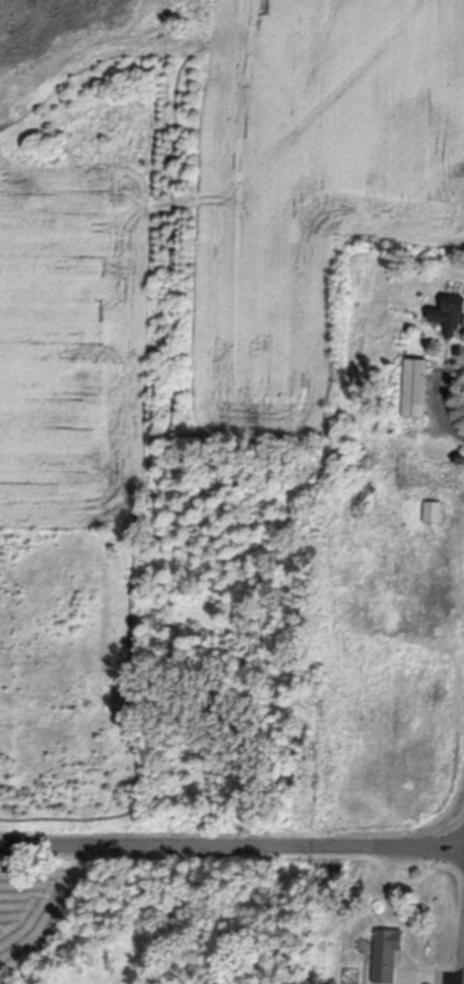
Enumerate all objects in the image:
building: (451, 308)
building: (417, 382)
building: (376, 396)
building: (463, 463)
building: (434, 466)
building: (434, 509)
road: (232, 846)
building: (388, 951)

